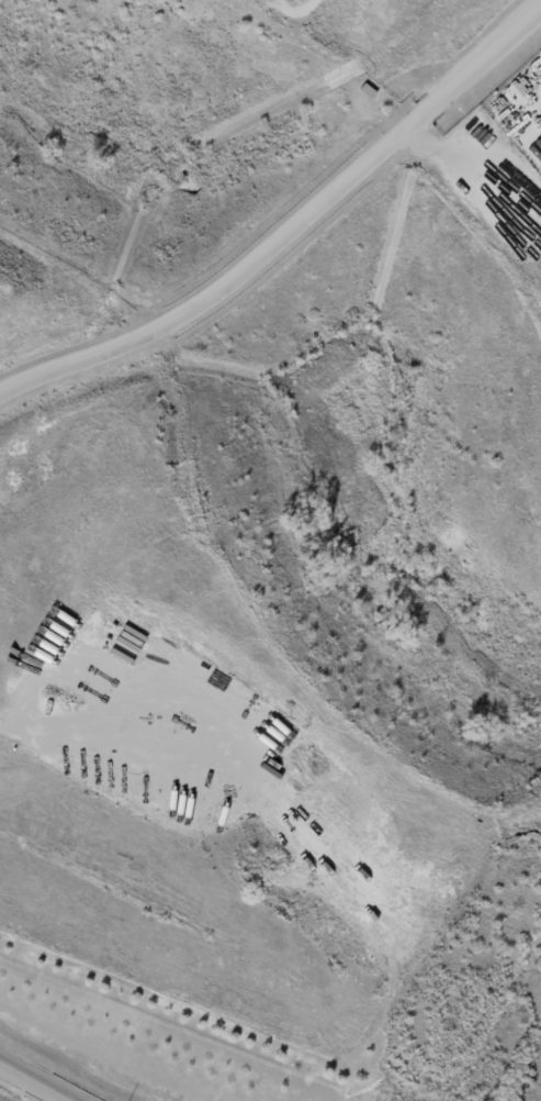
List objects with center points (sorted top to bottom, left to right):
road: (289, 222)
road: (35, 1080)

